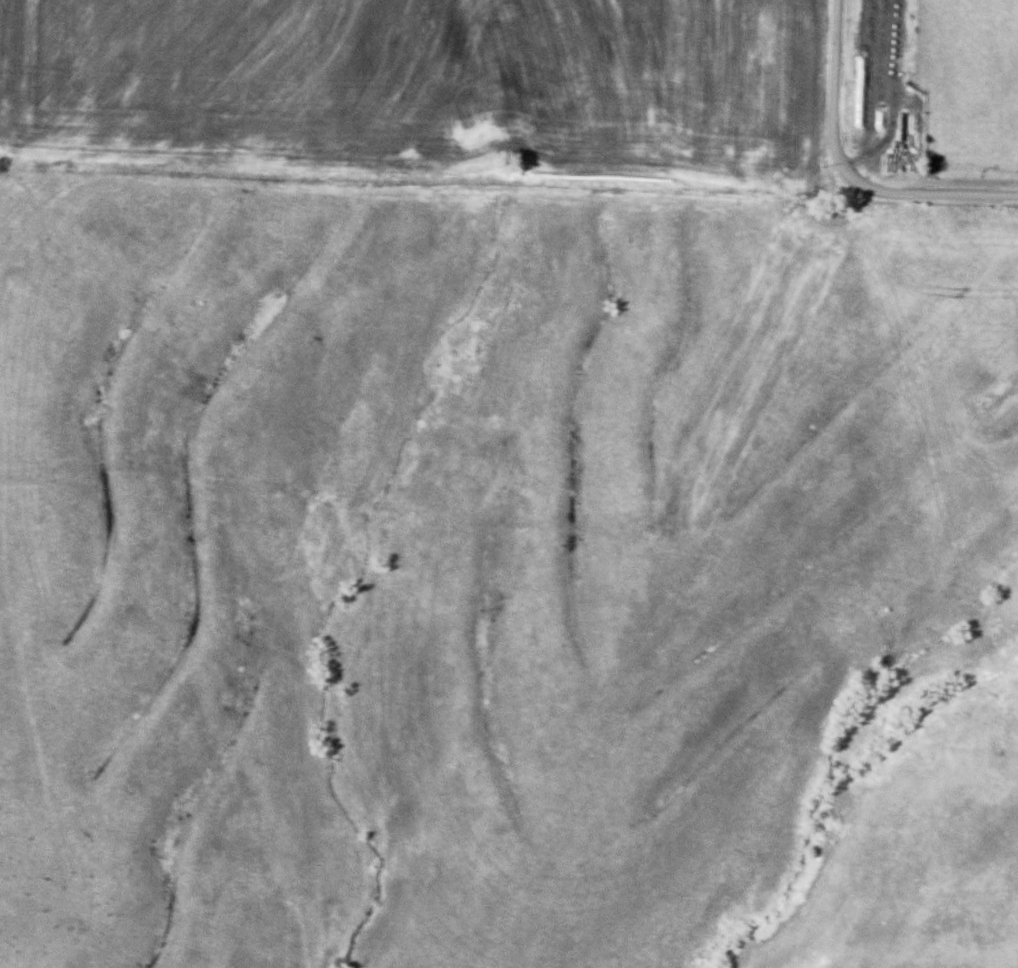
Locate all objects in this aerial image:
road: (847, 173)

